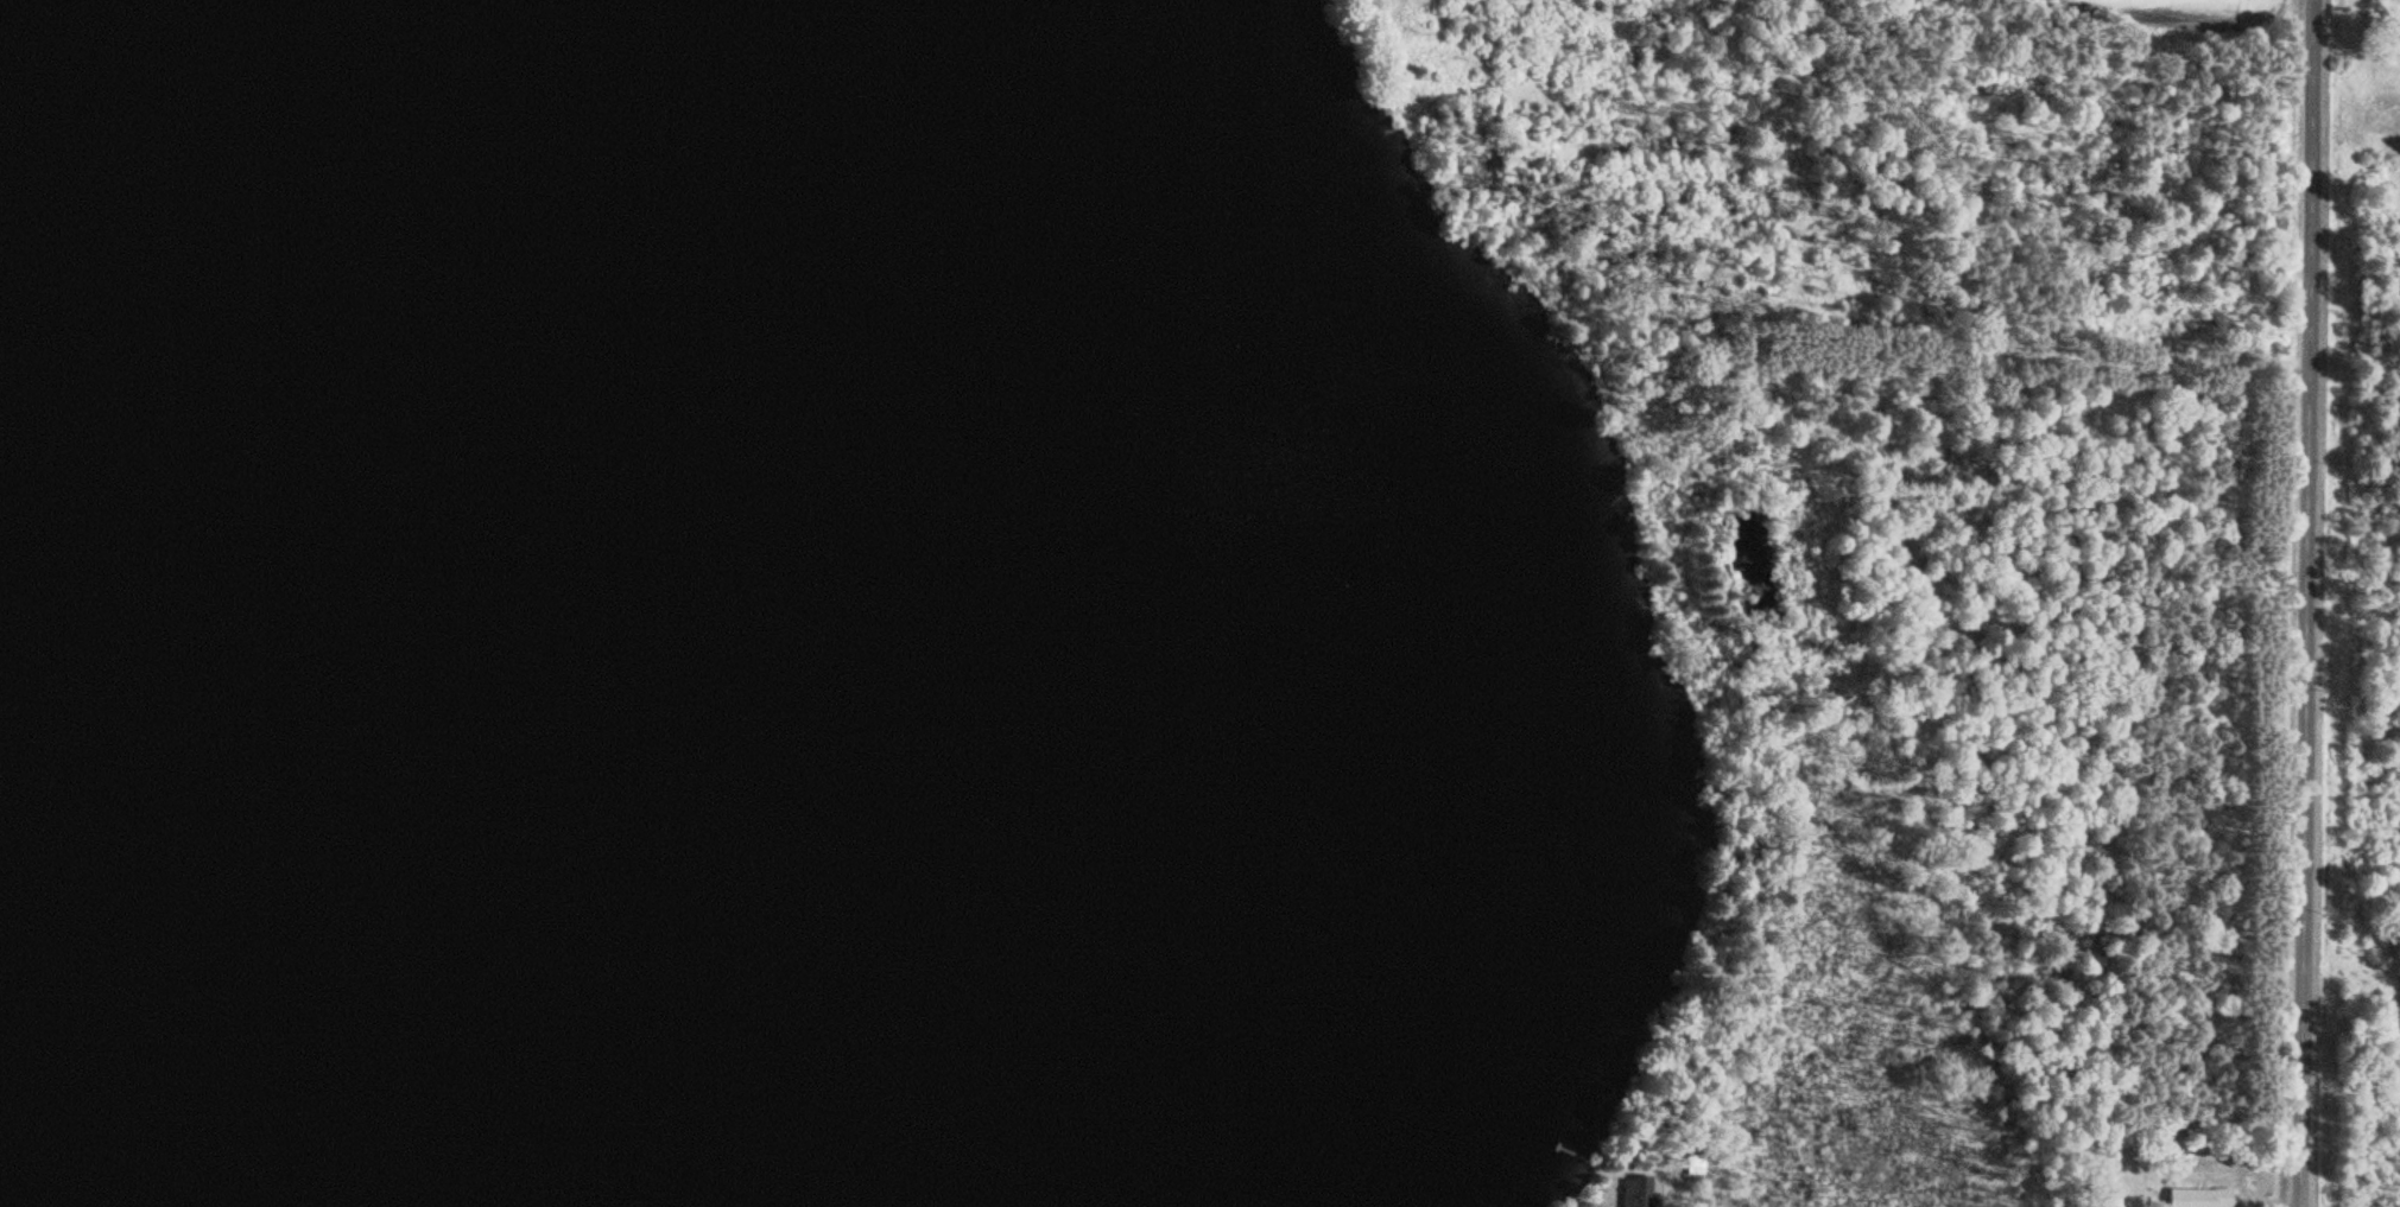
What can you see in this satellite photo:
road: (2306, 603)
building: (2196, 1198)

